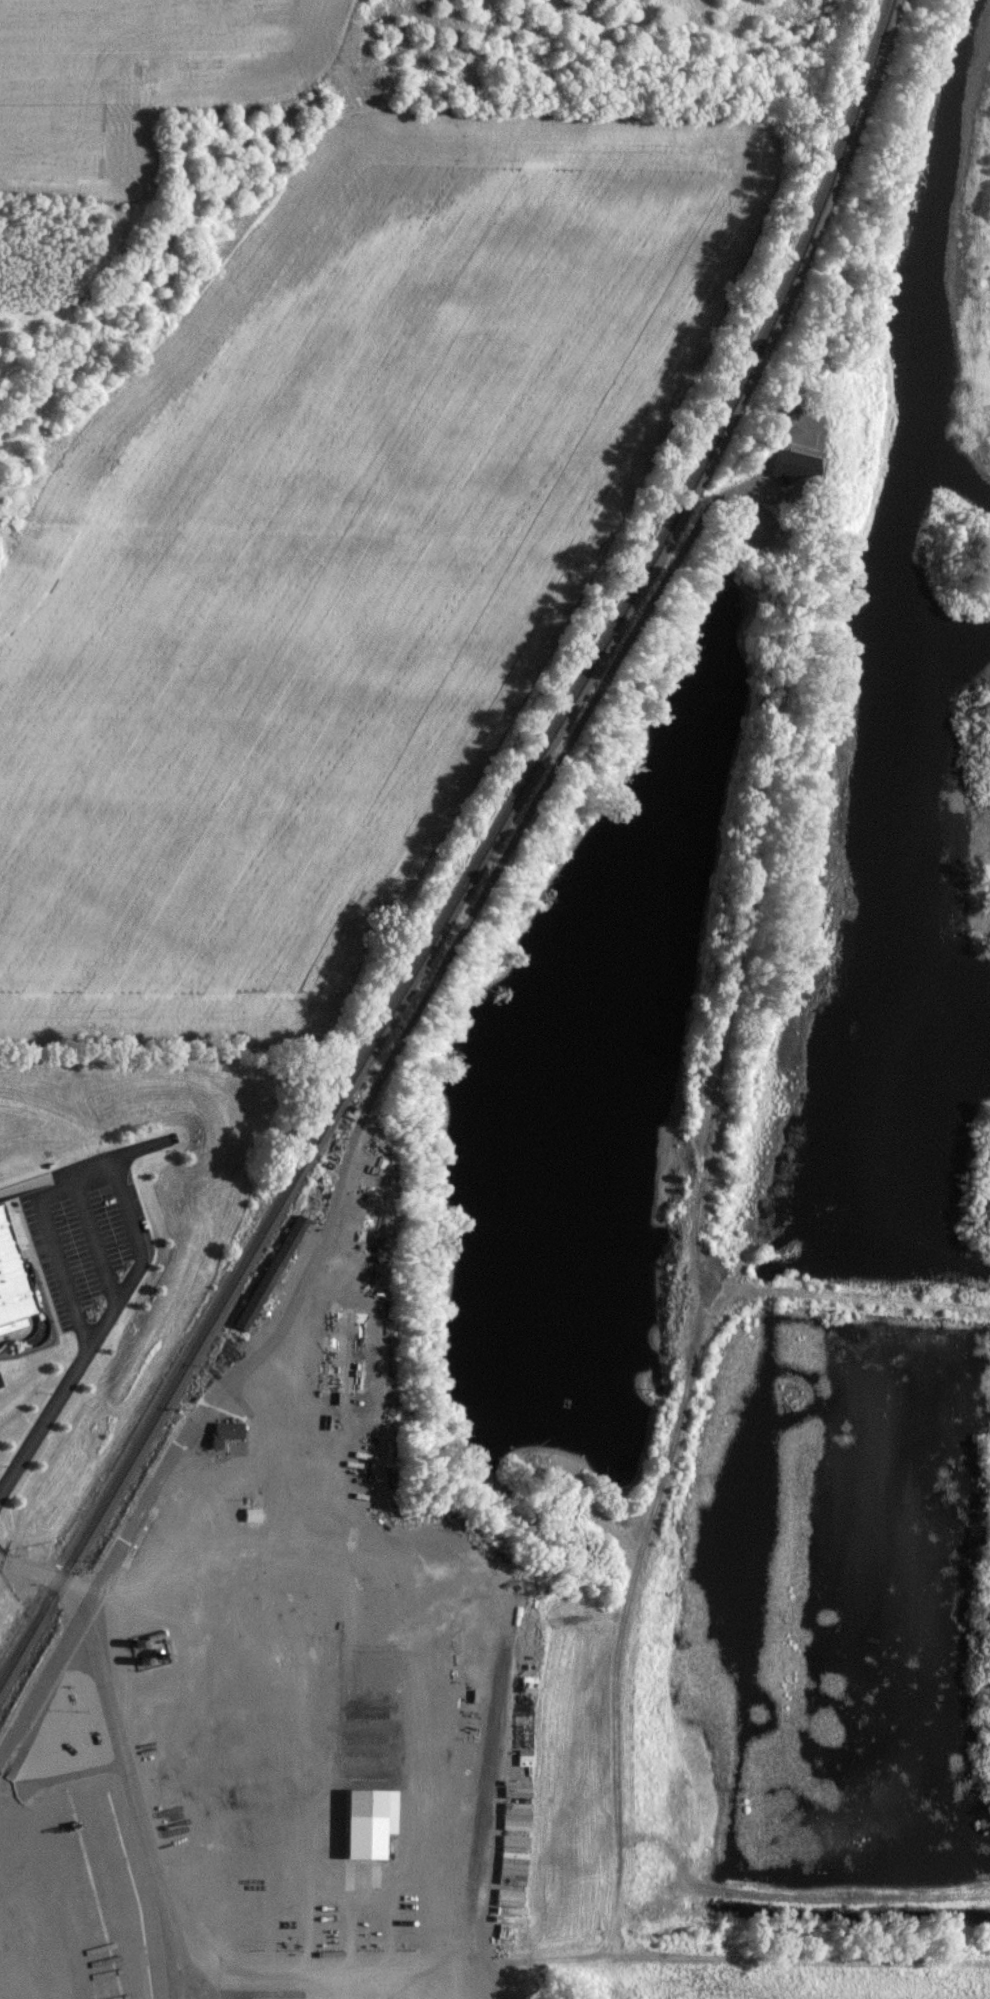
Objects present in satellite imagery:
building: (793, 465)
railway: (477, 860)
road: (95, 1169)
building: (269, 1271)
building: (8, 1293)
building: (345, 1350)
building: (358, 1401)
road: (43, 1419)
building: (223, 1431)
road: (187, 1433)
building: (251, 1514)
road: (345, 1538)
road: (420, 1543)
road: (298, 1591)
road: (122, 1747)
building: (522, 1757)
road: (293, 1783)
building: (514, 1807)
building: (366, 1821)
building: (510, 1876)
road: (294, 1899)
road: (580, 1970)
road: (469, 1986)

